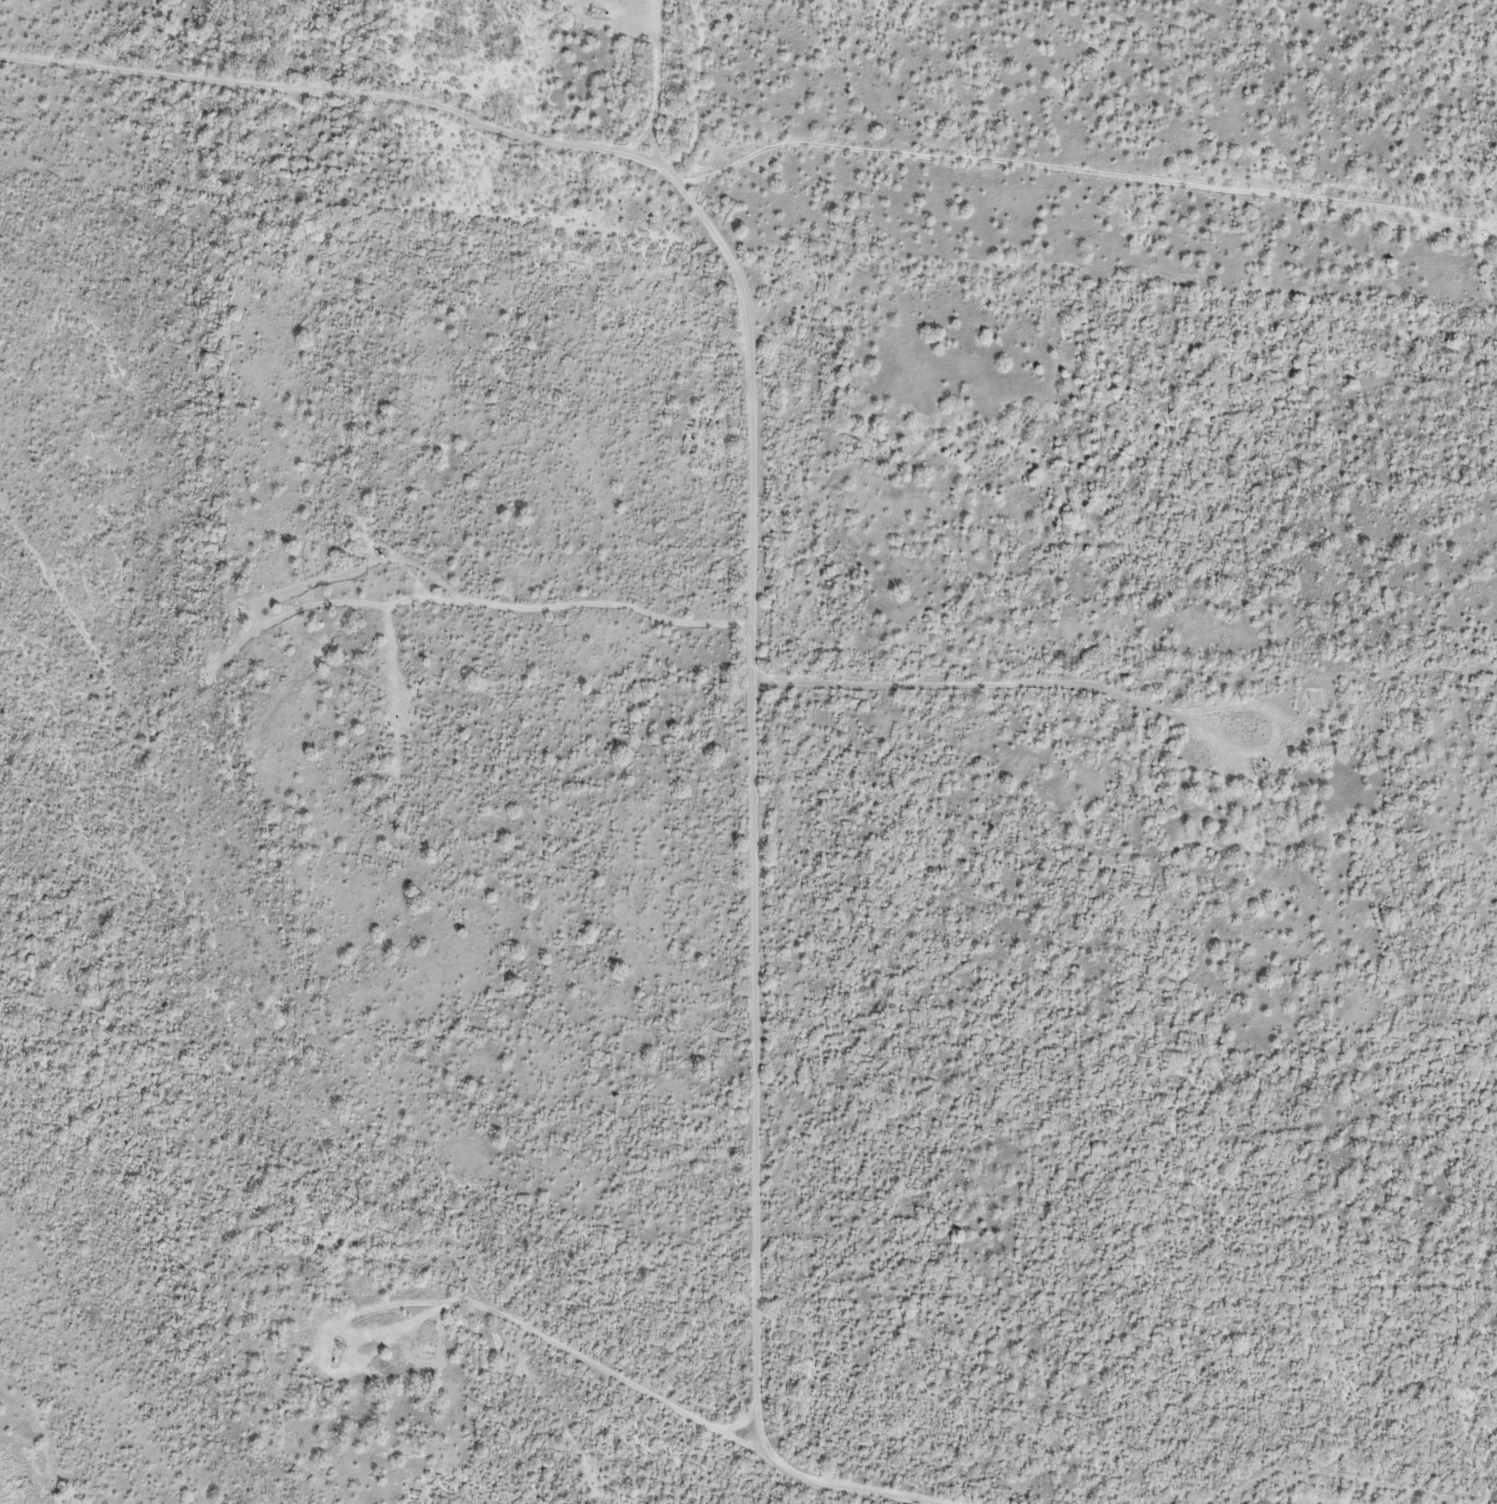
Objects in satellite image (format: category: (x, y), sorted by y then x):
road: (748, 142)

